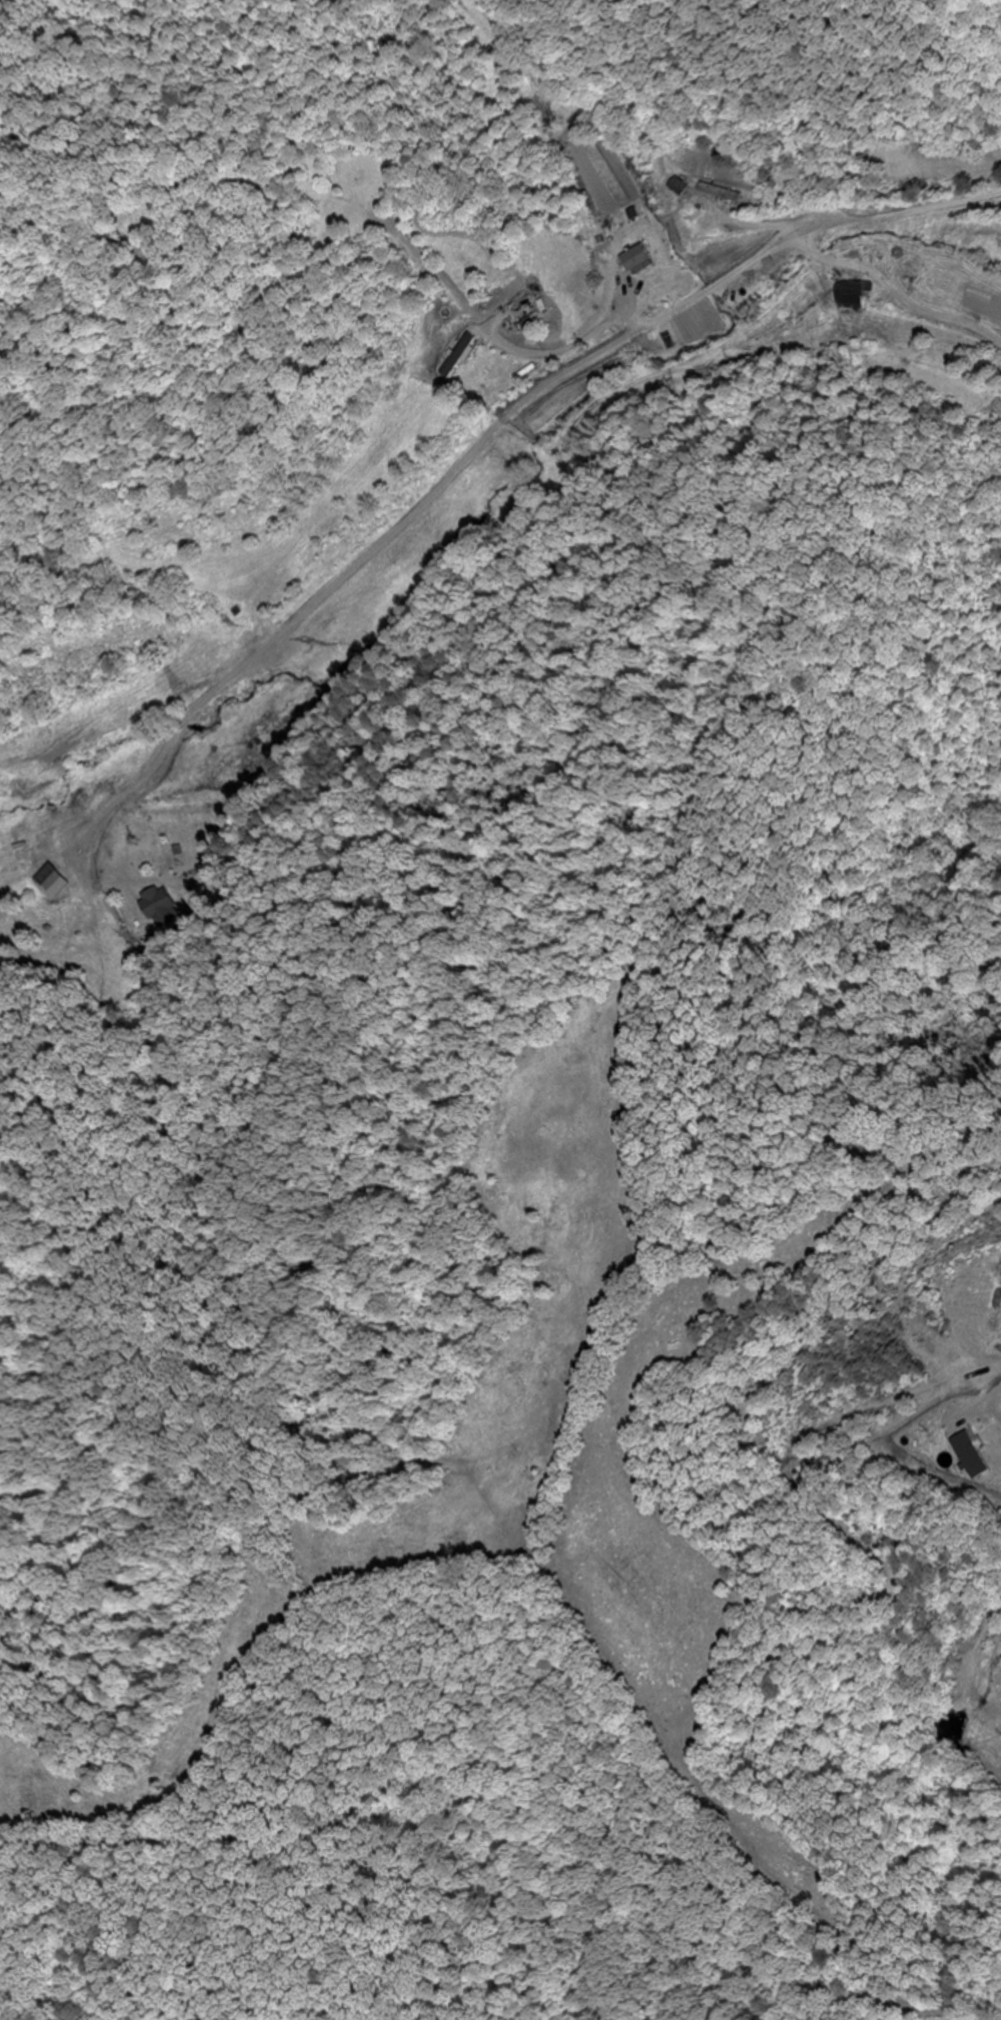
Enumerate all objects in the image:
building: (675, 186)
building: (714, 192)
building: (635, 260)
road: (740, 269)
building: (849, 294)
building: (451, 355)
building: (58, 884)
building: (163, 908)

